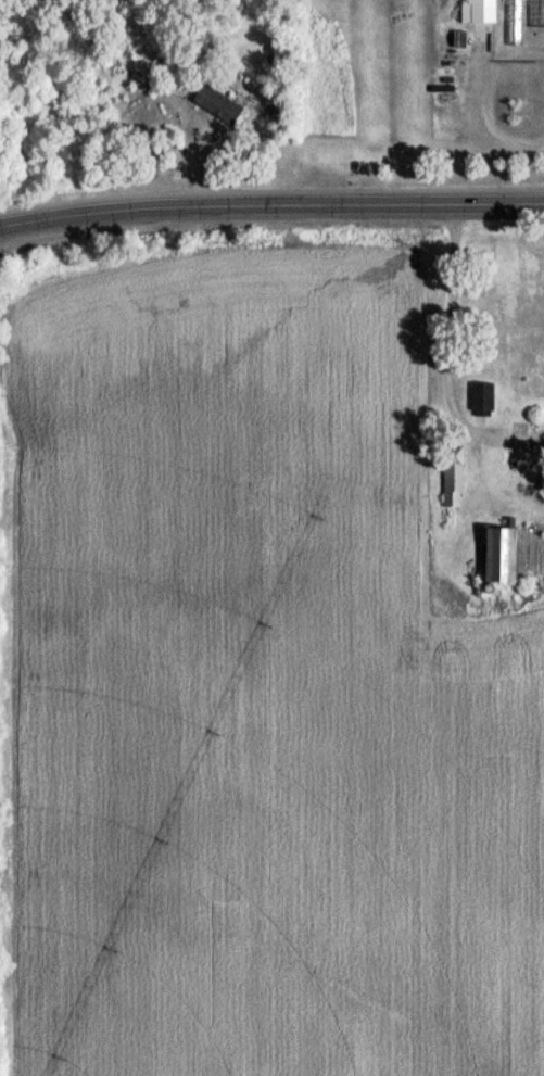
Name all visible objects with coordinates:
building: (477, 12)
building: (530, 37)
building: (101, 100)
building: (214, 104)
building: (489, 107)
road: (271, 207)
road: (445, 363)
building: (480, 401)
building: (451, 481)
building: (497, 555)

